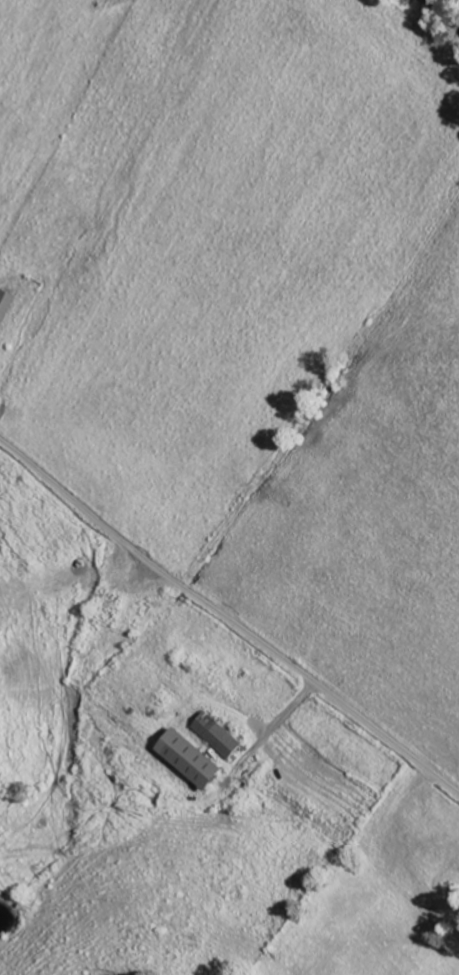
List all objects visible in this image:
river: (450, 8)
building: (5, 307)
road: (228, 620)
building: (218, 738)
building: (191, 762)

